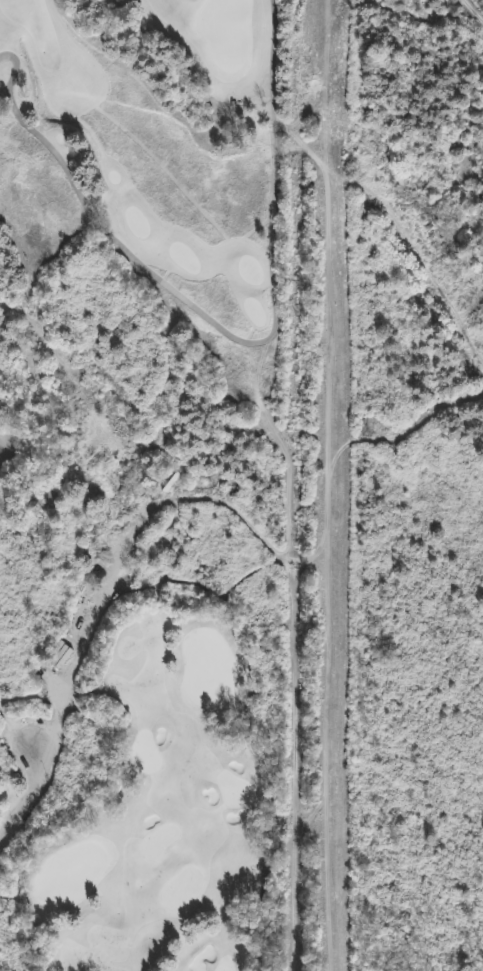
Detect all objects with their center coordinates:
park: (225, 32)
road: (230, 334)
road: (0, 450)
park: (144, 485)
road: (87, 584)
park: (207, 668)
park: (145, 753)
park: (234, 790)
park: (159, 842)
park: (70, 873)
park: (181, 889)
park: (223, 968)

